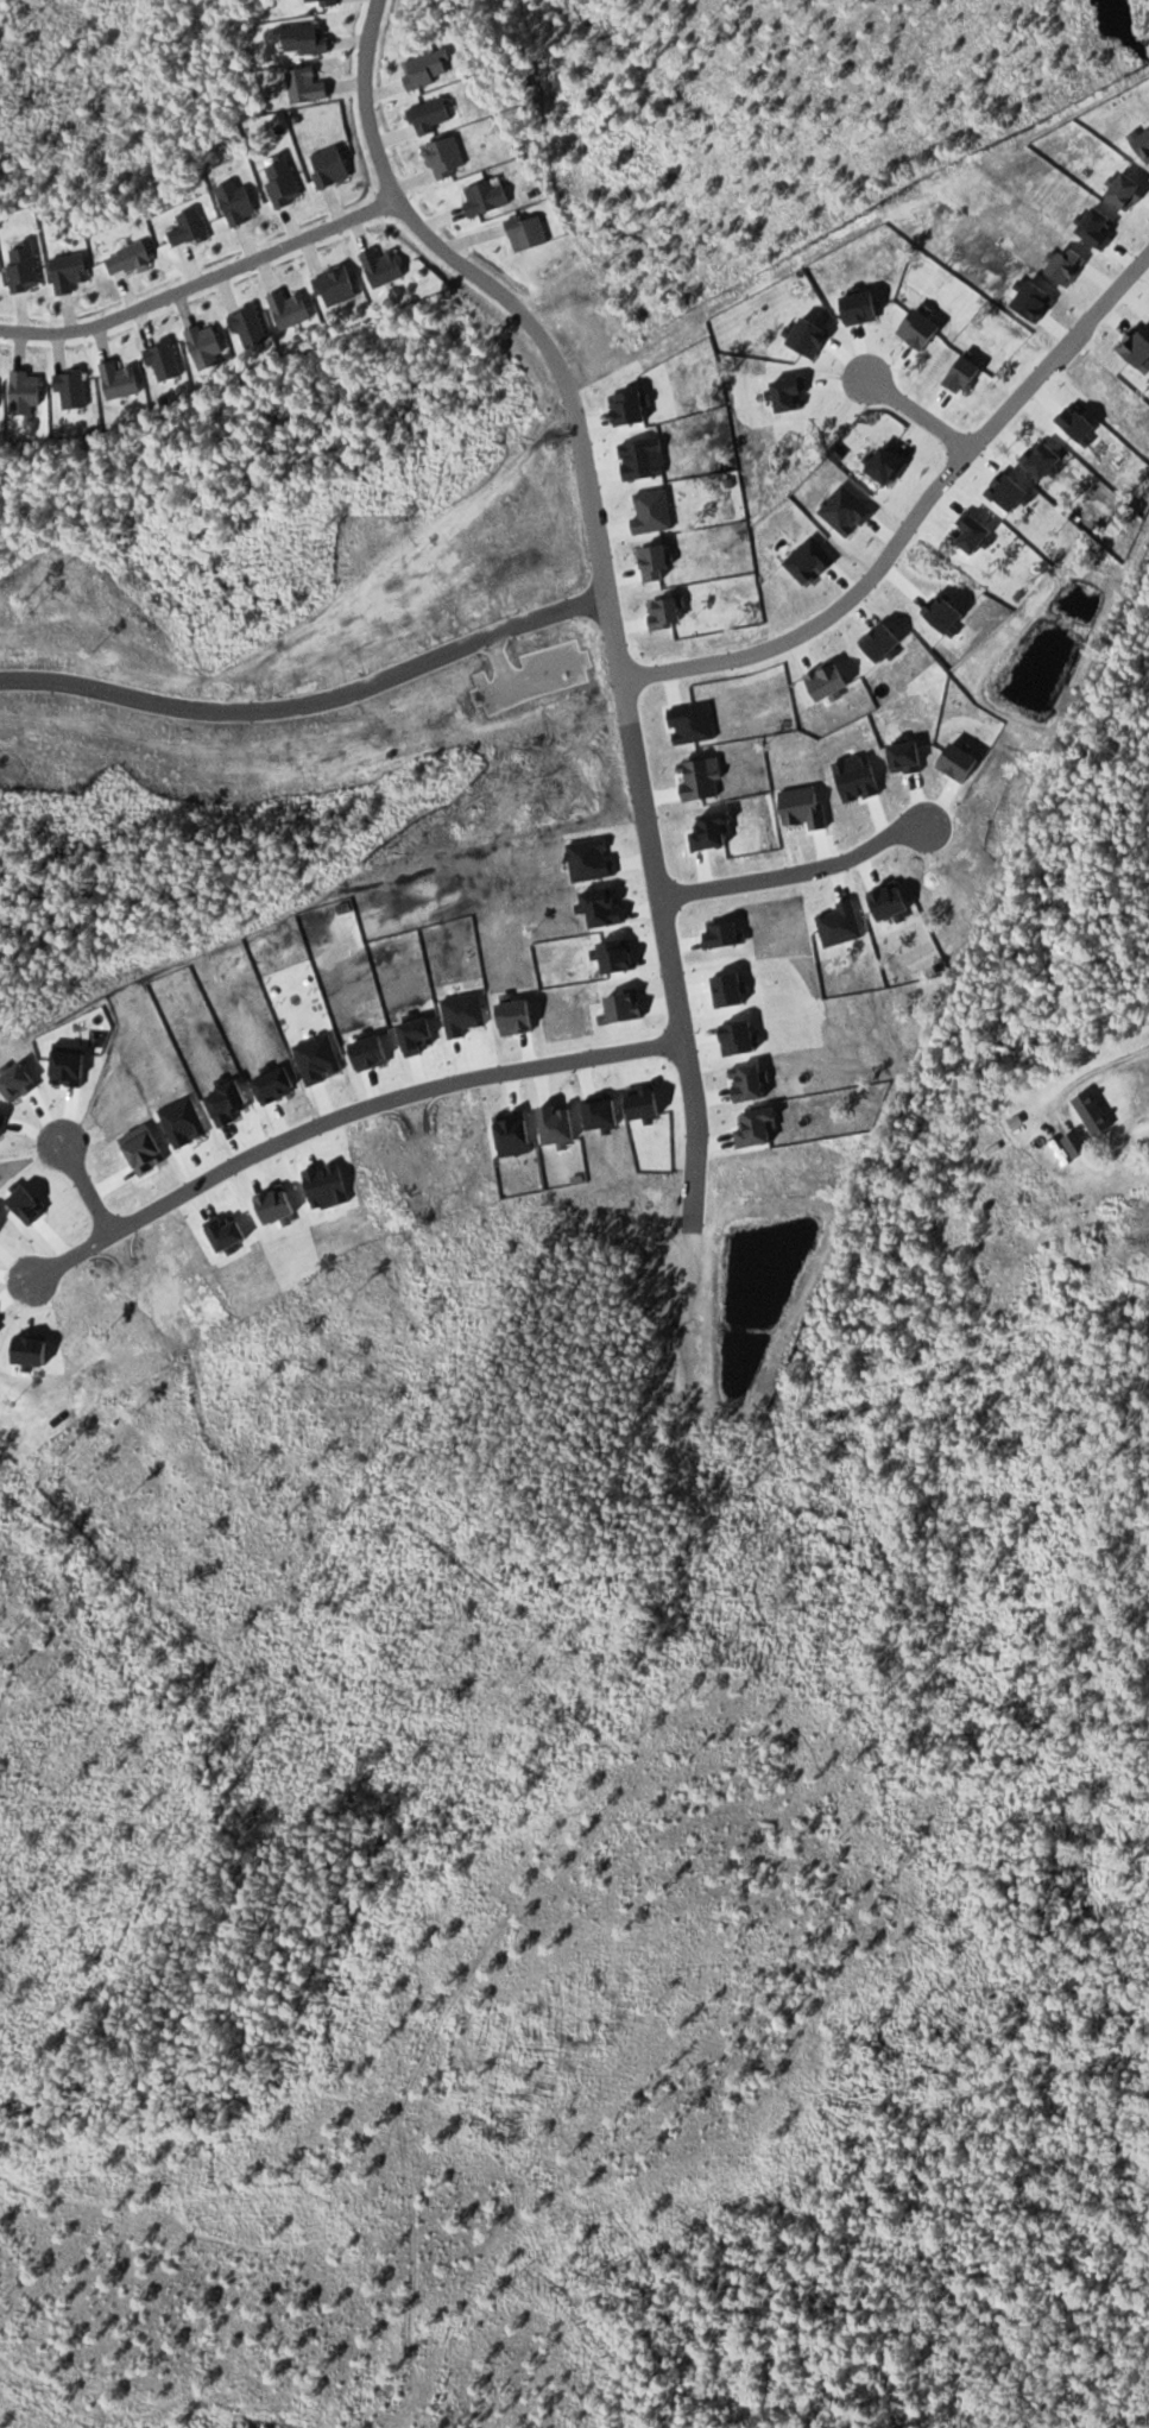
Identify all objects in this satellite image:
road: (201, 278)
road: (594, 575)
building: (1097, 1112)
building: (1081, 1143)

